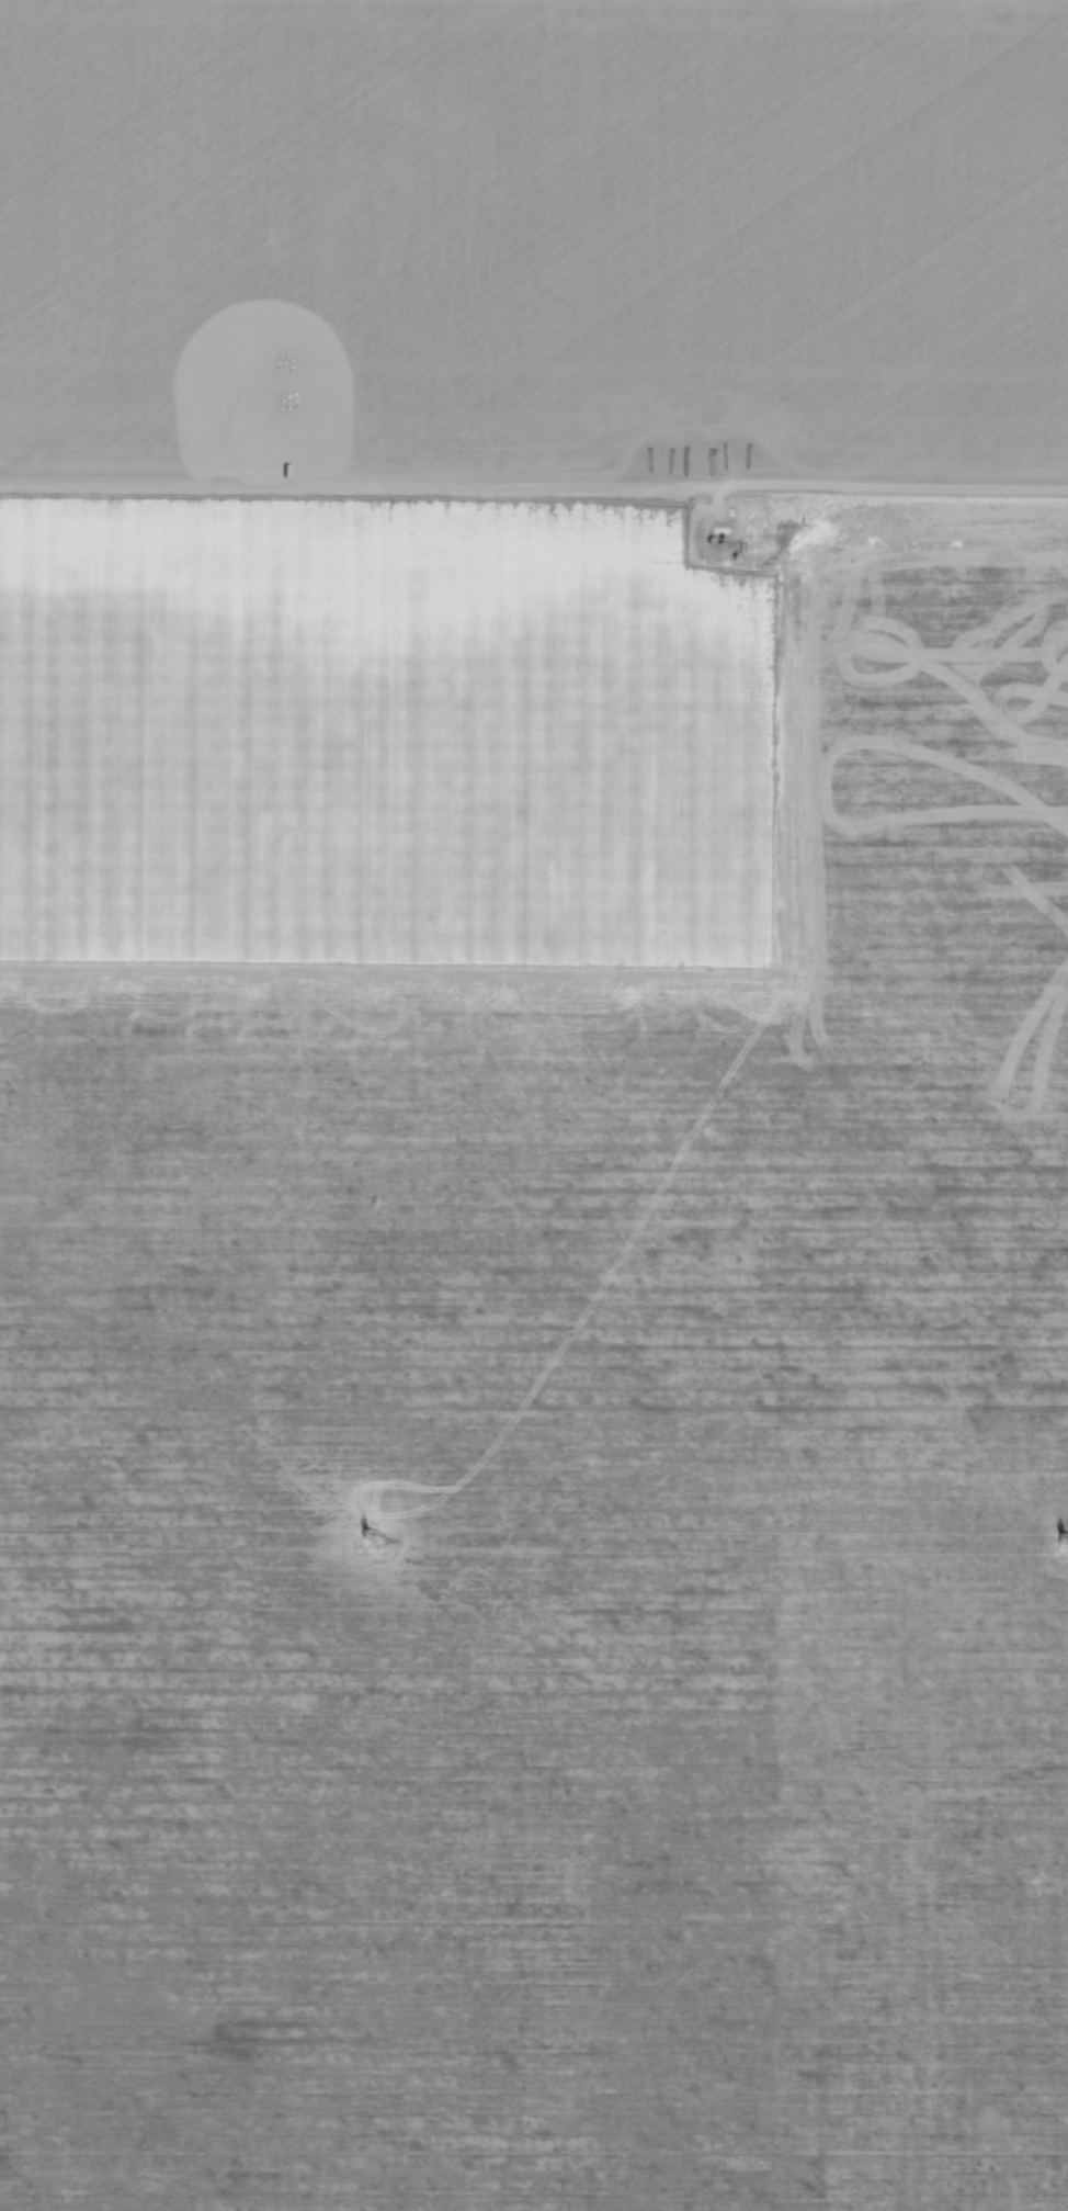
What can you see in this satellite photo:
road: (534, 492)
power tower: (366, 1541)
power tower: (1064, 1544)

